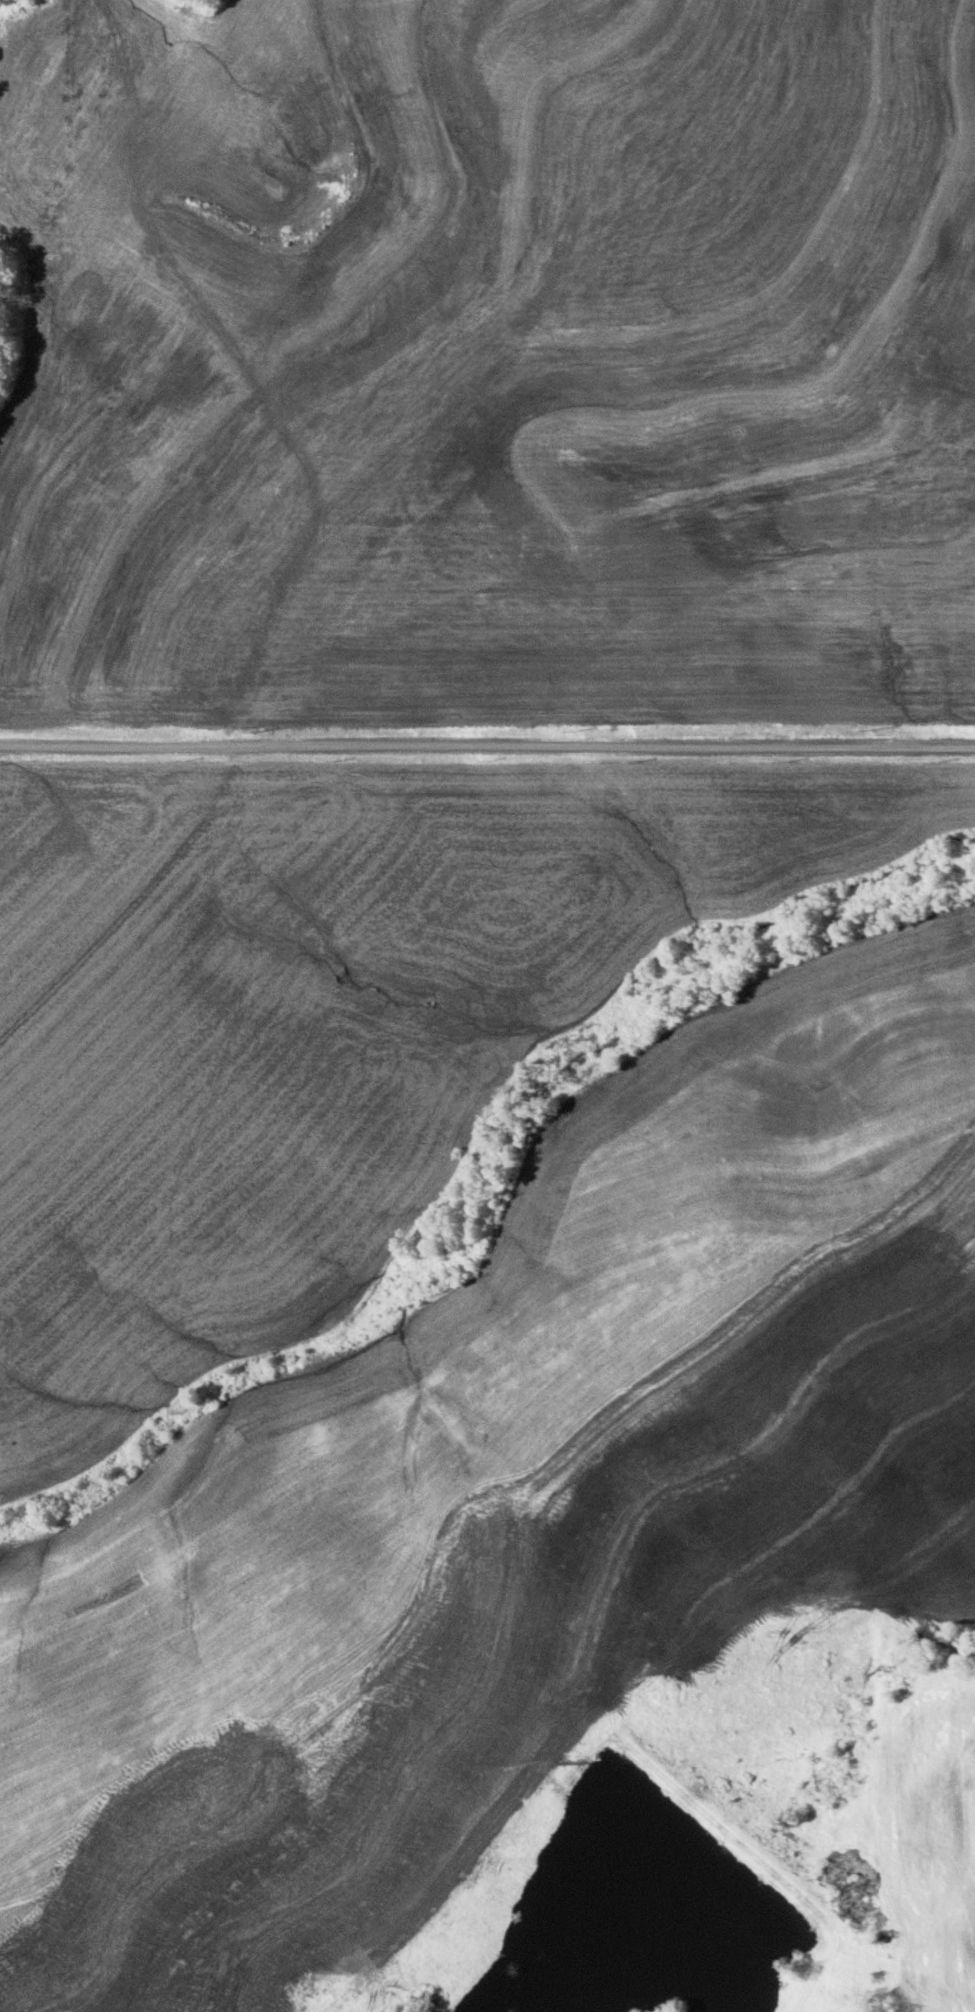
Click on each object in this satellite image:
crop: (512, 377)
road: (487, 746)

